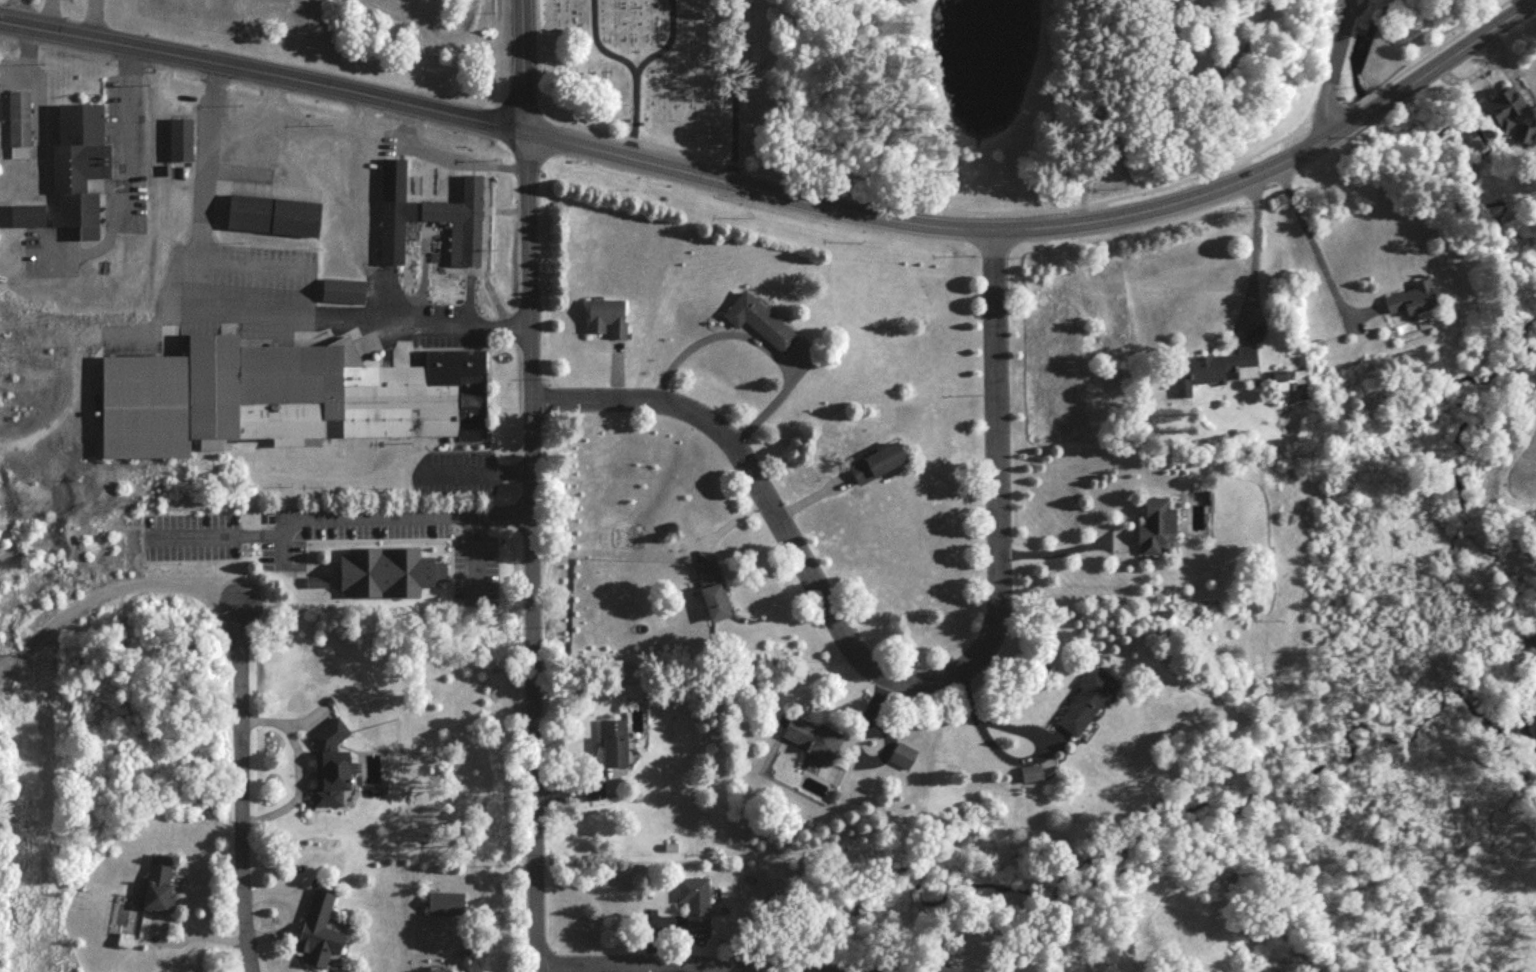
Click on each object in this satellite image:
park: (878, 1)
road: (8, 14)
road: (42, 17)
road: (86, 21)
road: (661, 43)
road: (592, 44)
road: (531, 60)
road: (1423, 61)
road: (524, 68)
road: (1330, 71)
park: (664, 73)
road: (263, 78)
park: (1065, 89)
road: (728, 92)
road: (486, 102)
road: (274, 106)
building: (1505, 106)
road: (513, 109)
road: (625, 115)
building: (15, 119)
road: (410, 130)
building: (176, 138)
road: (371, 140)
building: (77, 164)
road: (124, 177)
road: (921, 207)
road: (362, 212)
building: (25, 213)
building: (268, 214)
building: (427, 218)
road: (1053, 232)
road: (1251, 259)
road: (1320, 260)
building: (339, 290)
building: (1410, 297)
building: (602, 315)
road: (240, 317)
building: (759, 320)
road: (752, 339)
building: (1214, 365)
road: (614, 369)
building: (280, 395)
building: (876, 461)
road: (812, 493)
road: (337, 517)
road: (724, 524)
building: (1158, 524)
road: (1064, 547)
road: (698, 548)
road: (531, 553)
building: (386, 570)
road: (111, 586)
building: (712, 588)
road: (896, 677)
building: (1084, 699)
building: (809, 737)
building: (613, 742)
road: (846, 752)
building: (899, 754)
road: (1008, 757)
building: (331, 767)
road: (293, 768)
building: (1027, 772)
building: (1032, 780)
road: (240, 783)
road: (588, 790)
building: (157, 882)
road: (295, 898)
building: (445, 902)
building: (693, 902)
road: (288, 912)
building: (317, 929)
road: (158, 940)
road: (671, 966)
building: (942, 969)

